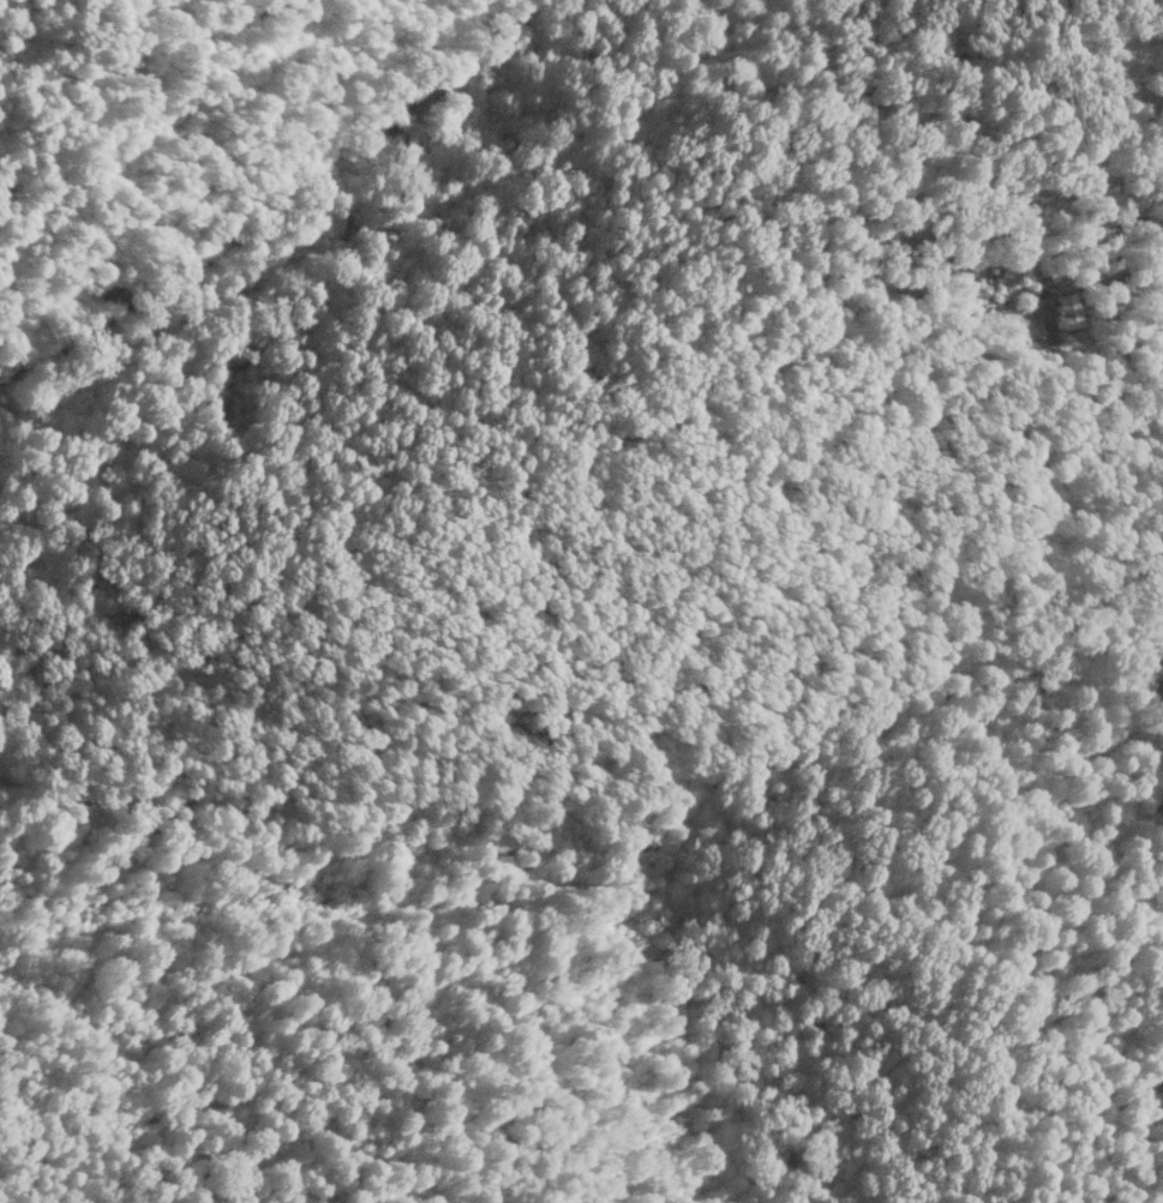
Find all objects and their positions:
road: (302, 170)
building: (1062, 313)
road: (30, 353)

